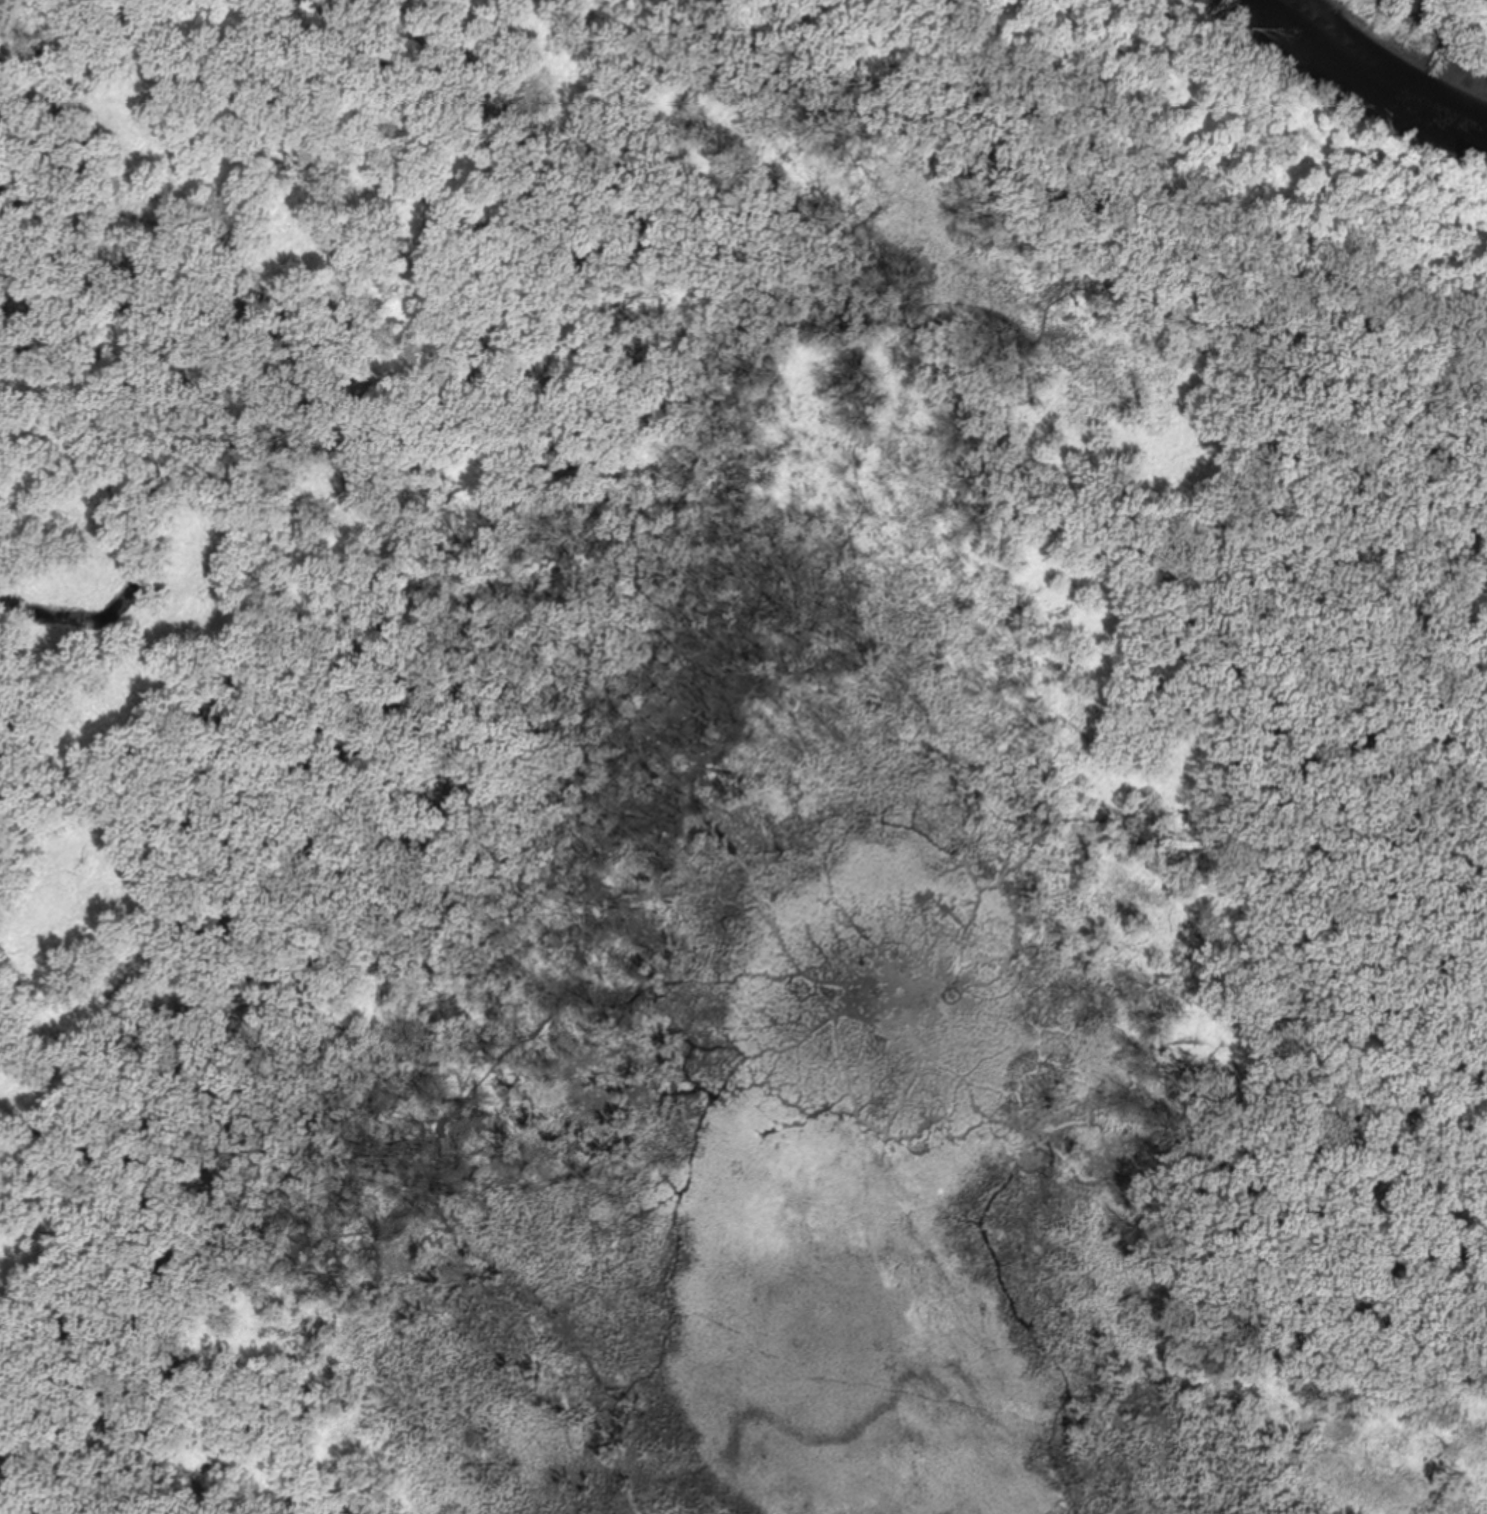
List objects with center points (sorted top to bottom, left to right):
river: (1361, 72)

